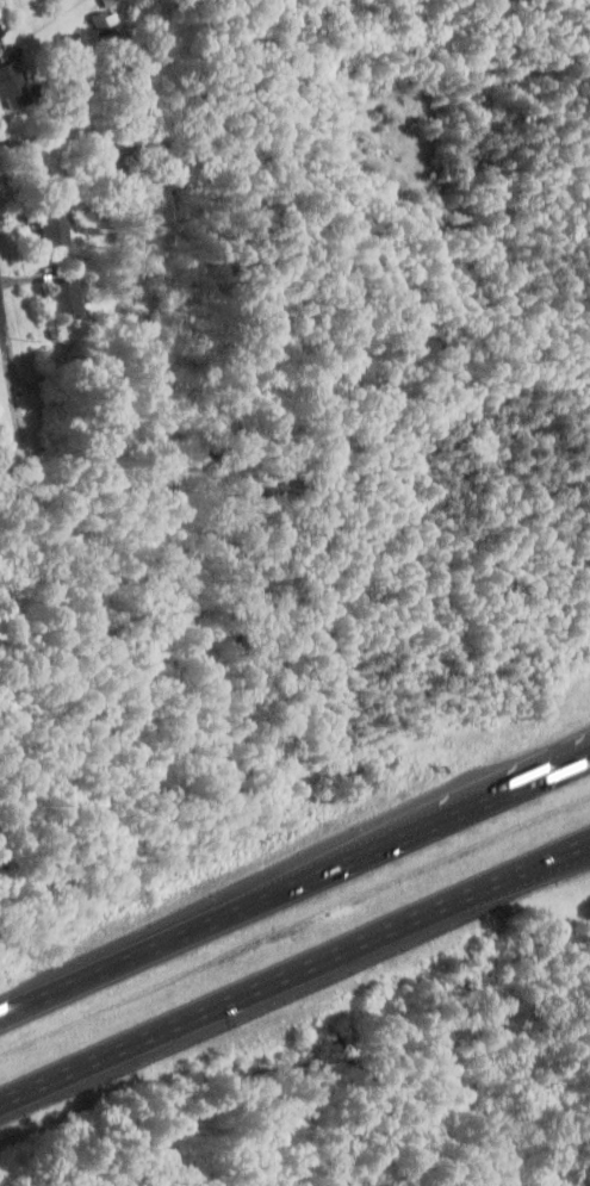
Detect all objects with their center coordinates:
building: (110, 15)
building: (0, 33)
building: (11, 85)
building: (49, 226)
building: (63, 298)
road: (1, 323)
road: (15, 396)
river: (188, 433)
road: (294, 886)
river: (290, 938)
road: (294, 970)
river: (365, 1099)

